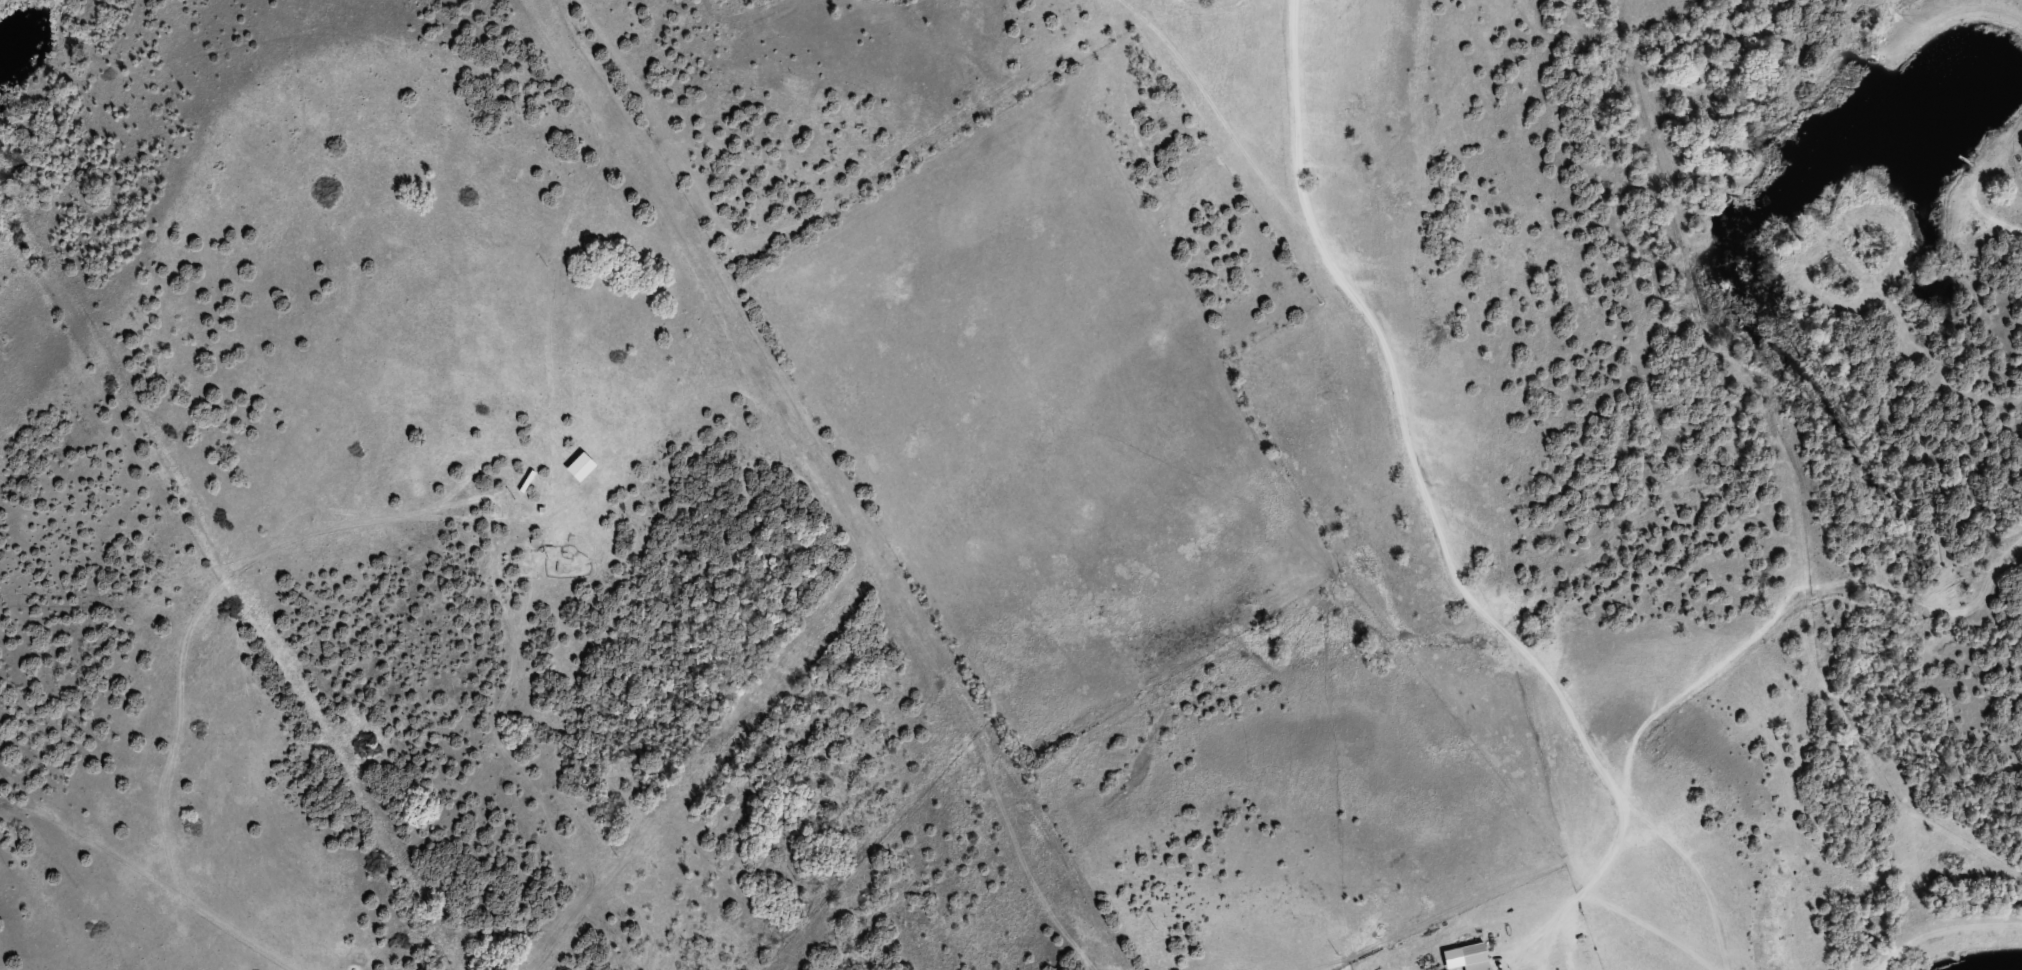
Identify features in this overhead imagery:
building: (1472, 952)

